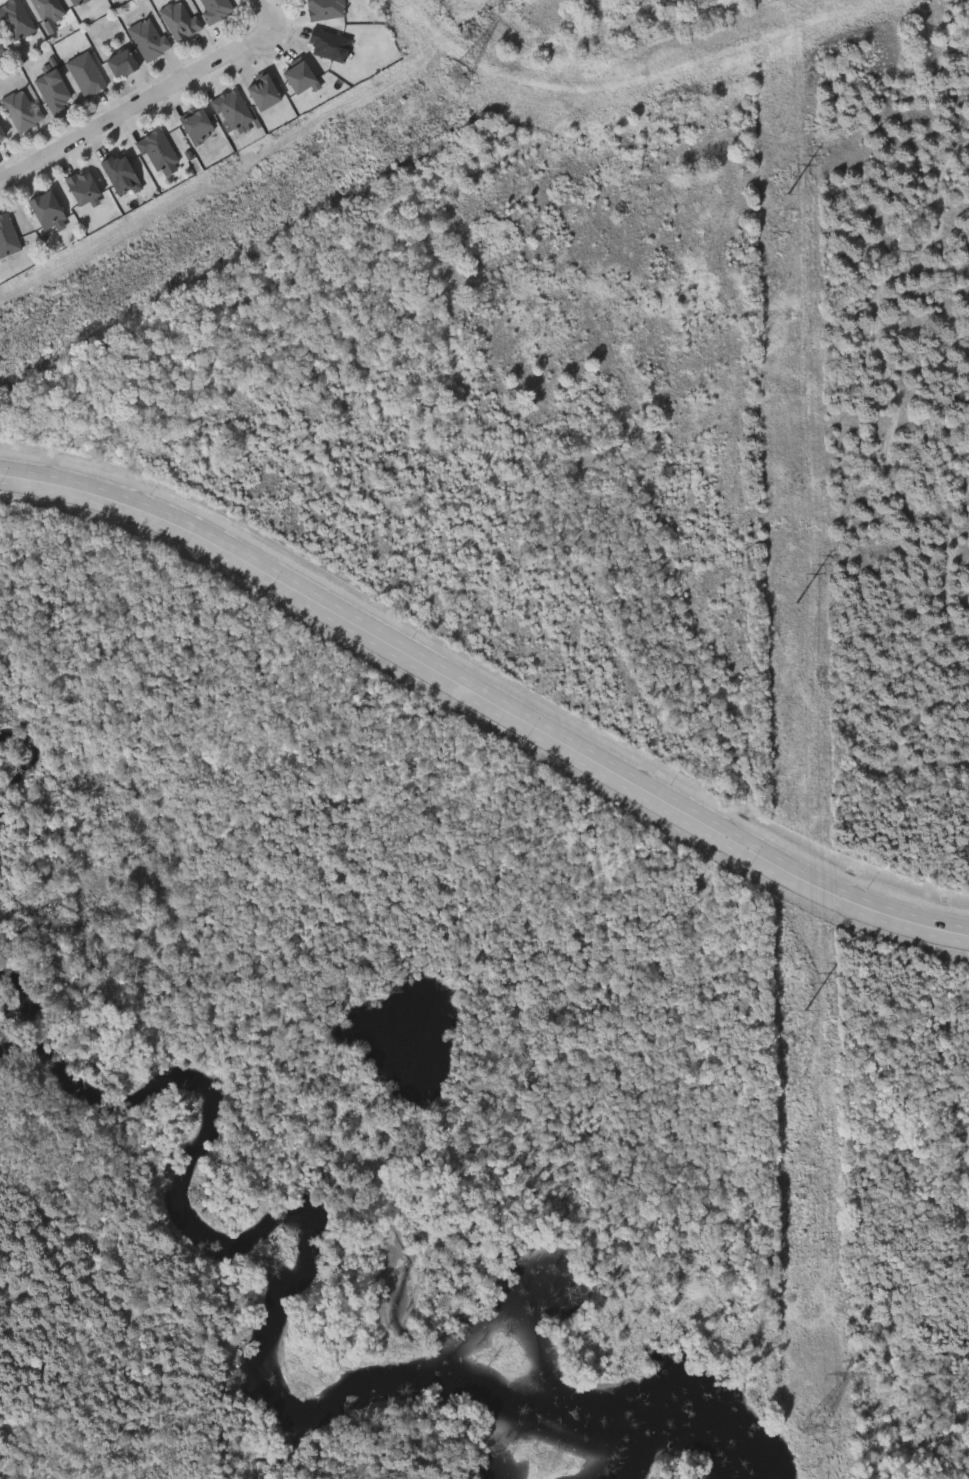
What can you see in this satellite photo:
building: (76, 2)
building: (215, 8)
building: (325, 8)
building: (48, 9)
road: (264, 11)
building: (179, 18)
building: (15, 19)
building: (148, 37)
building: (328, 43)
building: (2, 52)
building: (120, 61)
building: (85, 73)
building: (299, 76)
power tower: (458, 79)
building: (53, 89)
building: (262, 90)
road: (136, 107)
building: (232, 107)
building: (21, 108)
building: (197, 125)
building: (1, 137)
building: (157, 149)
building: (119, 173)
building: (81, 186)
power tower: (789, 197)
building: (45, 209)
building: (7, 235)
power tower: (797, 604)
road: (483, 707)
park: (530, 727)
power tower: (804, 1008)
power tower: (812, 1426)

